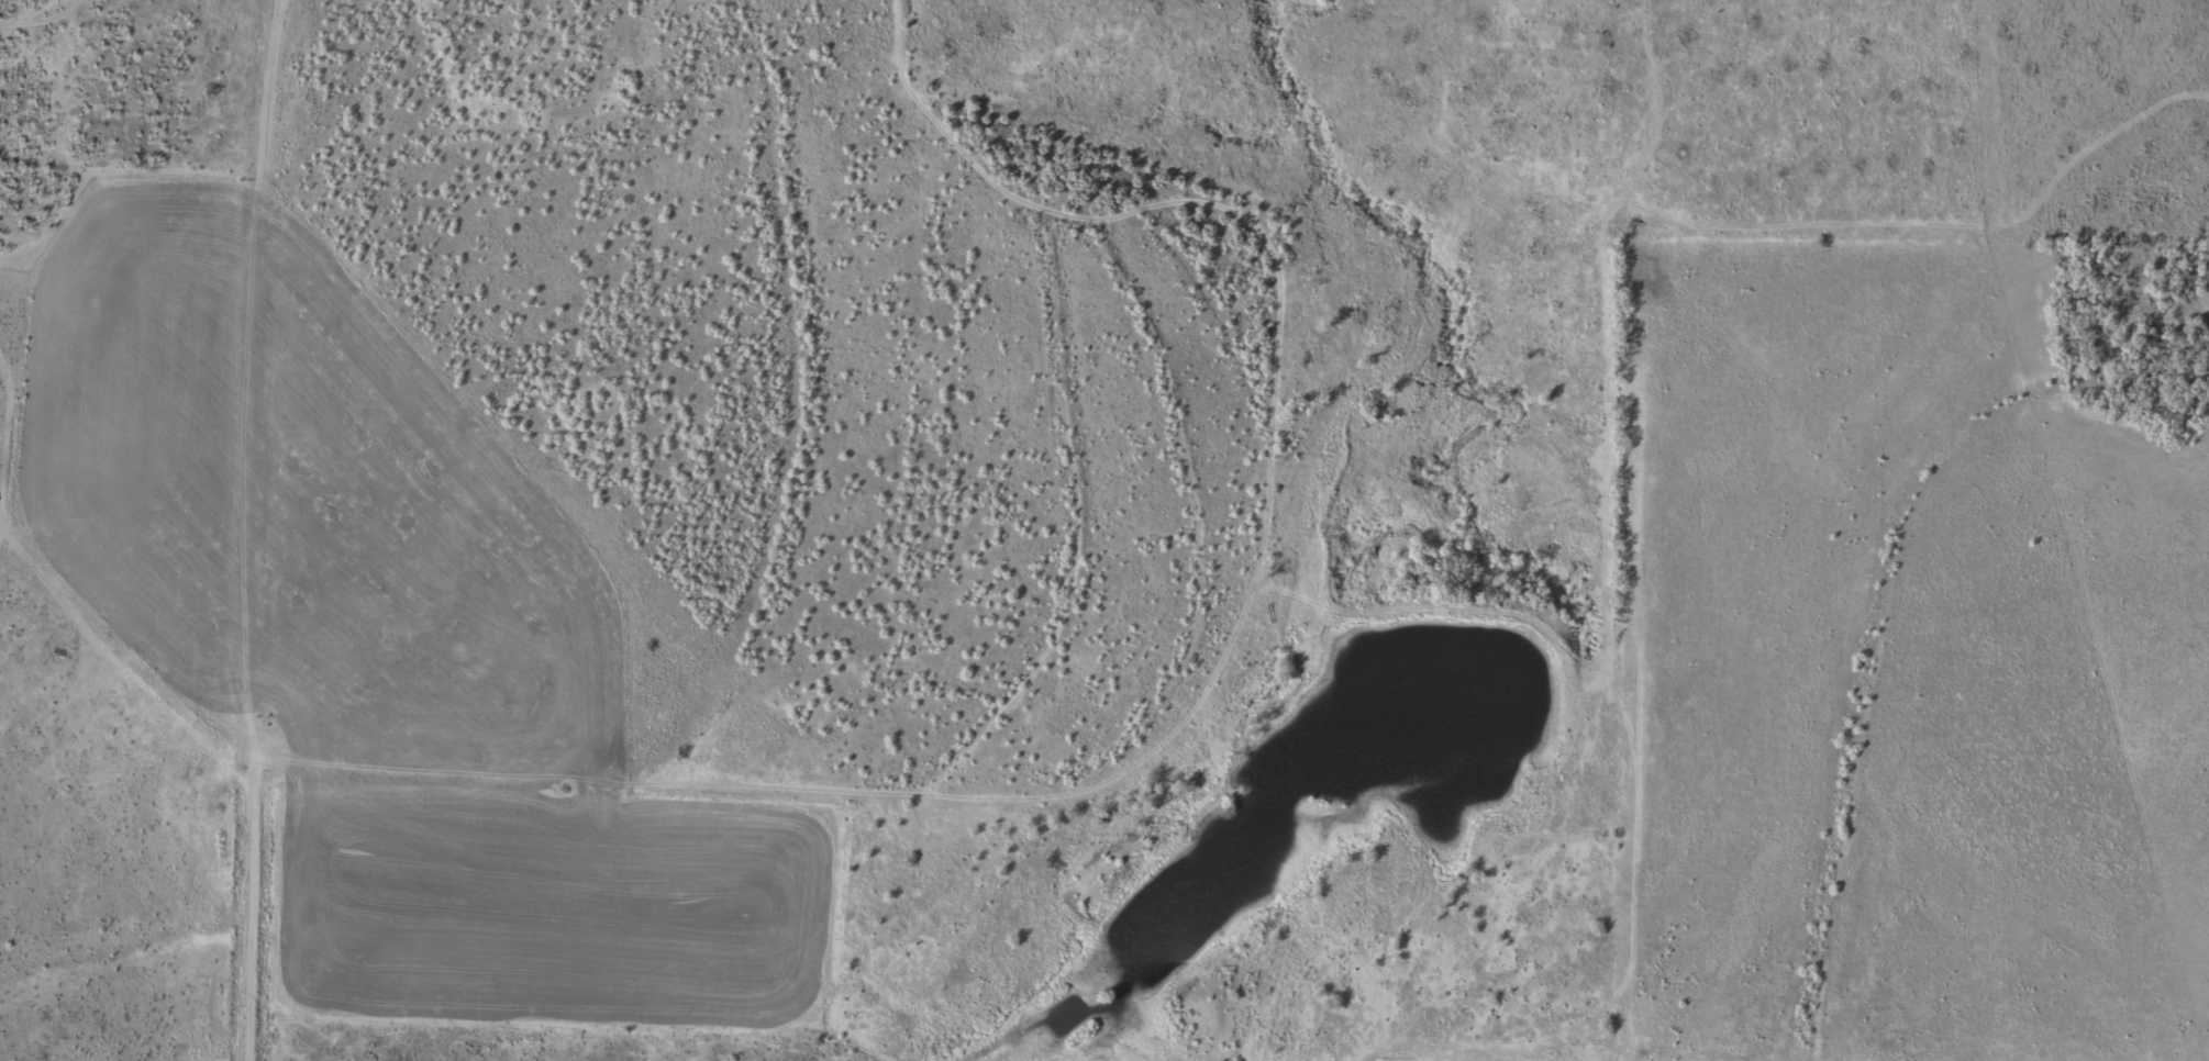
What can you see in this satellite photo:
road: (15, 10)
building: (1310, 450)
road: (237, 530)
road: (1820, 905)

